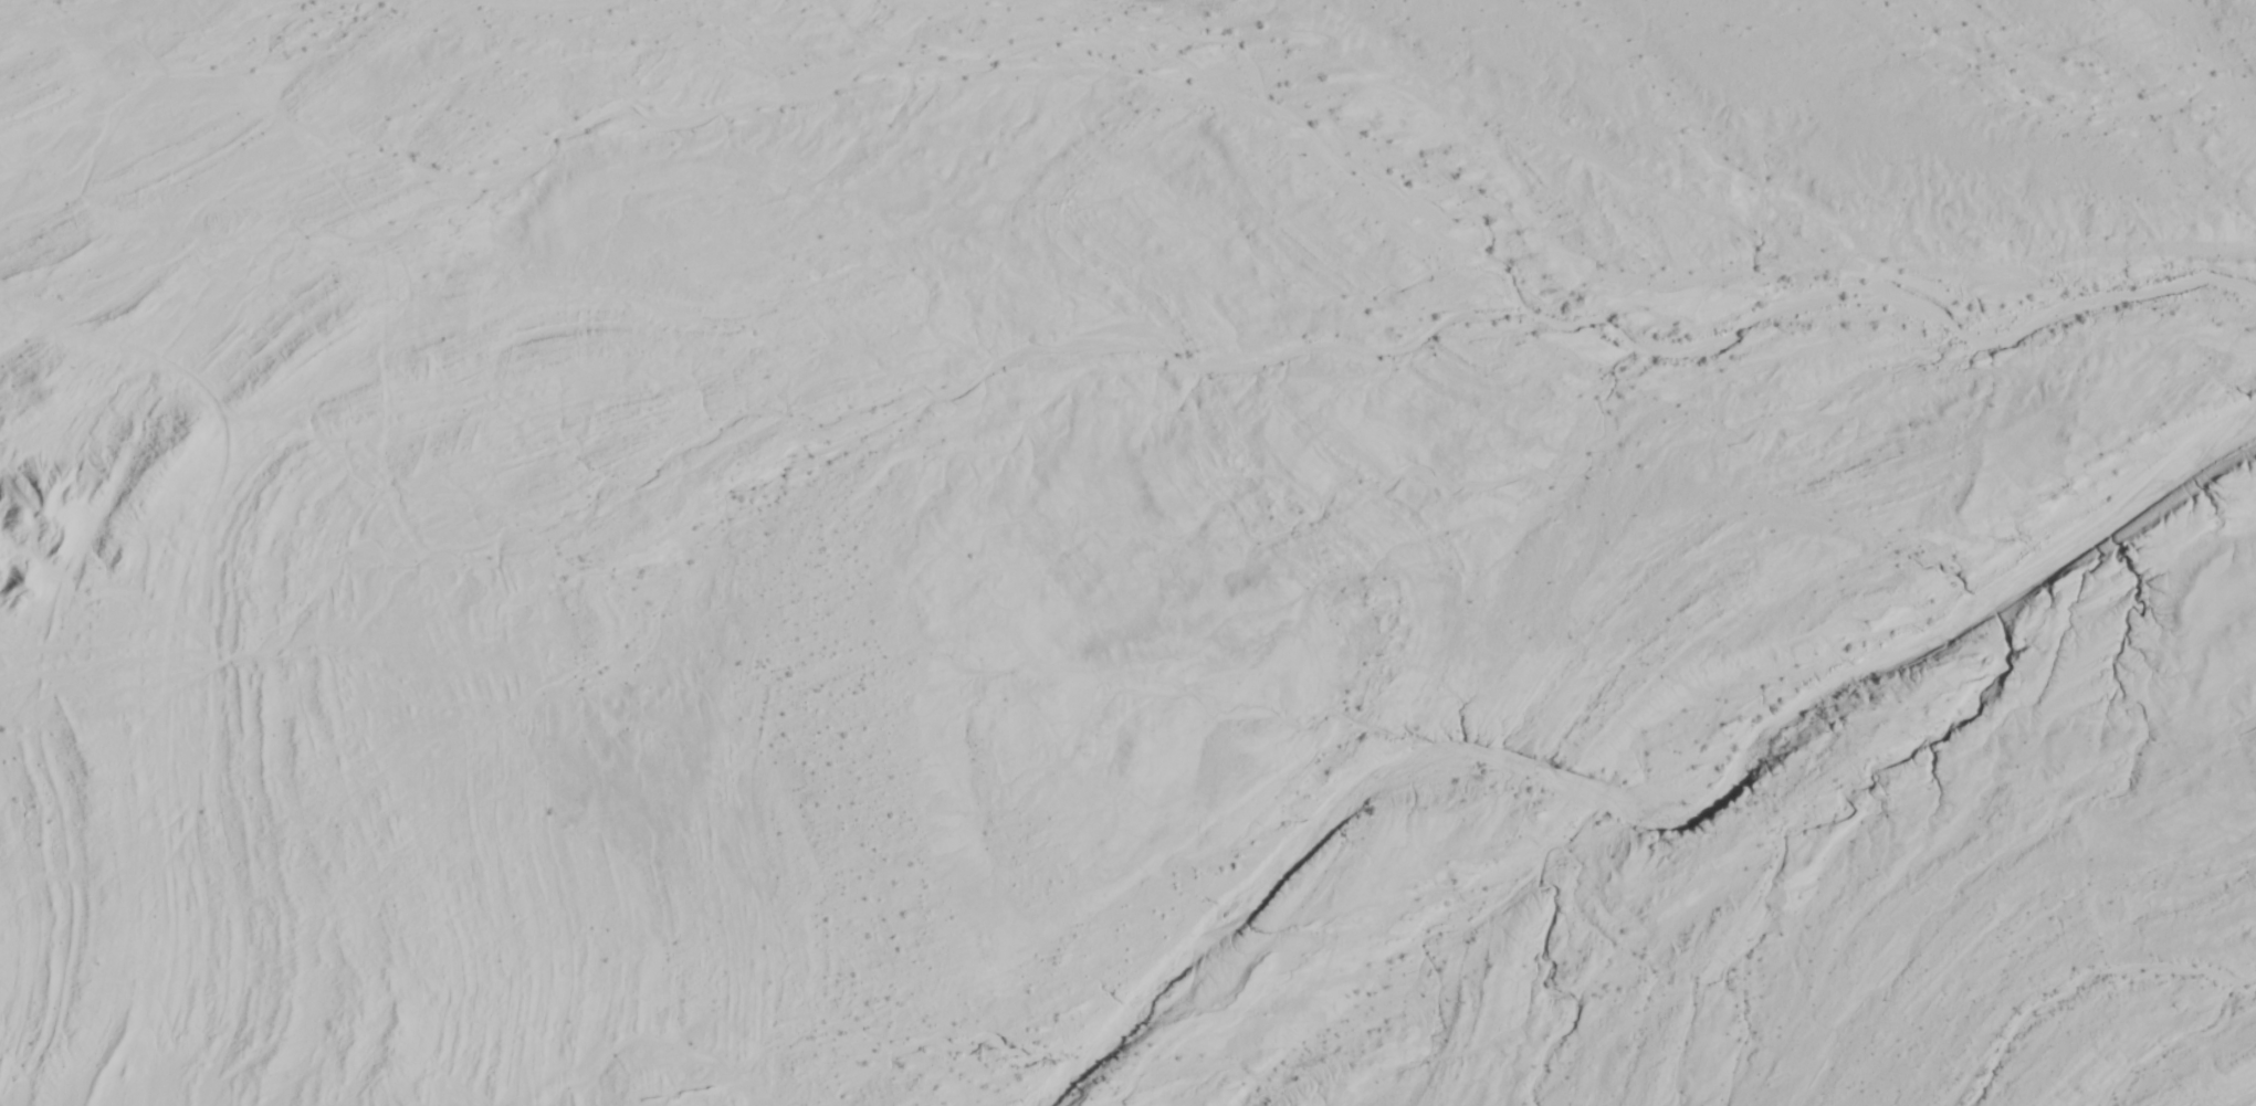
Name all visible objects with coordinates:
road: (167, 630)

